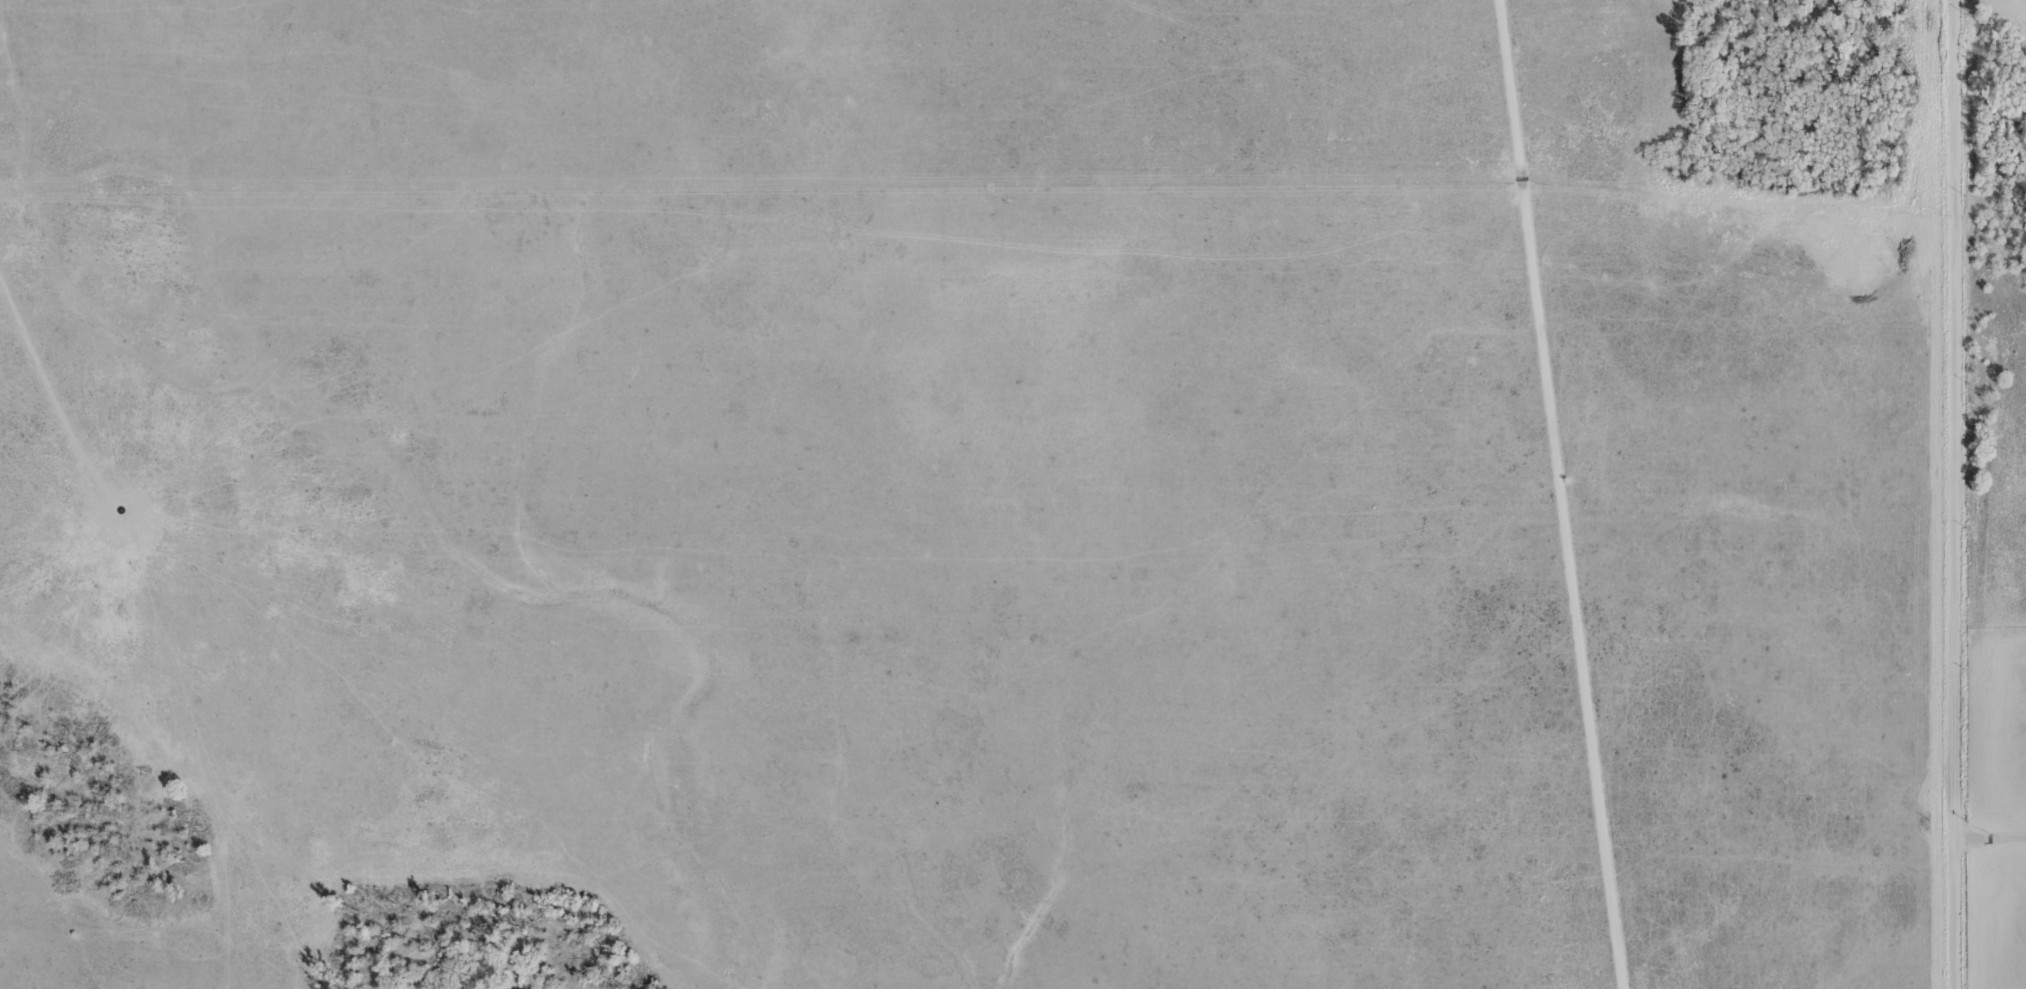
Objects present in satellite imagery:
road: (1951, 494)

